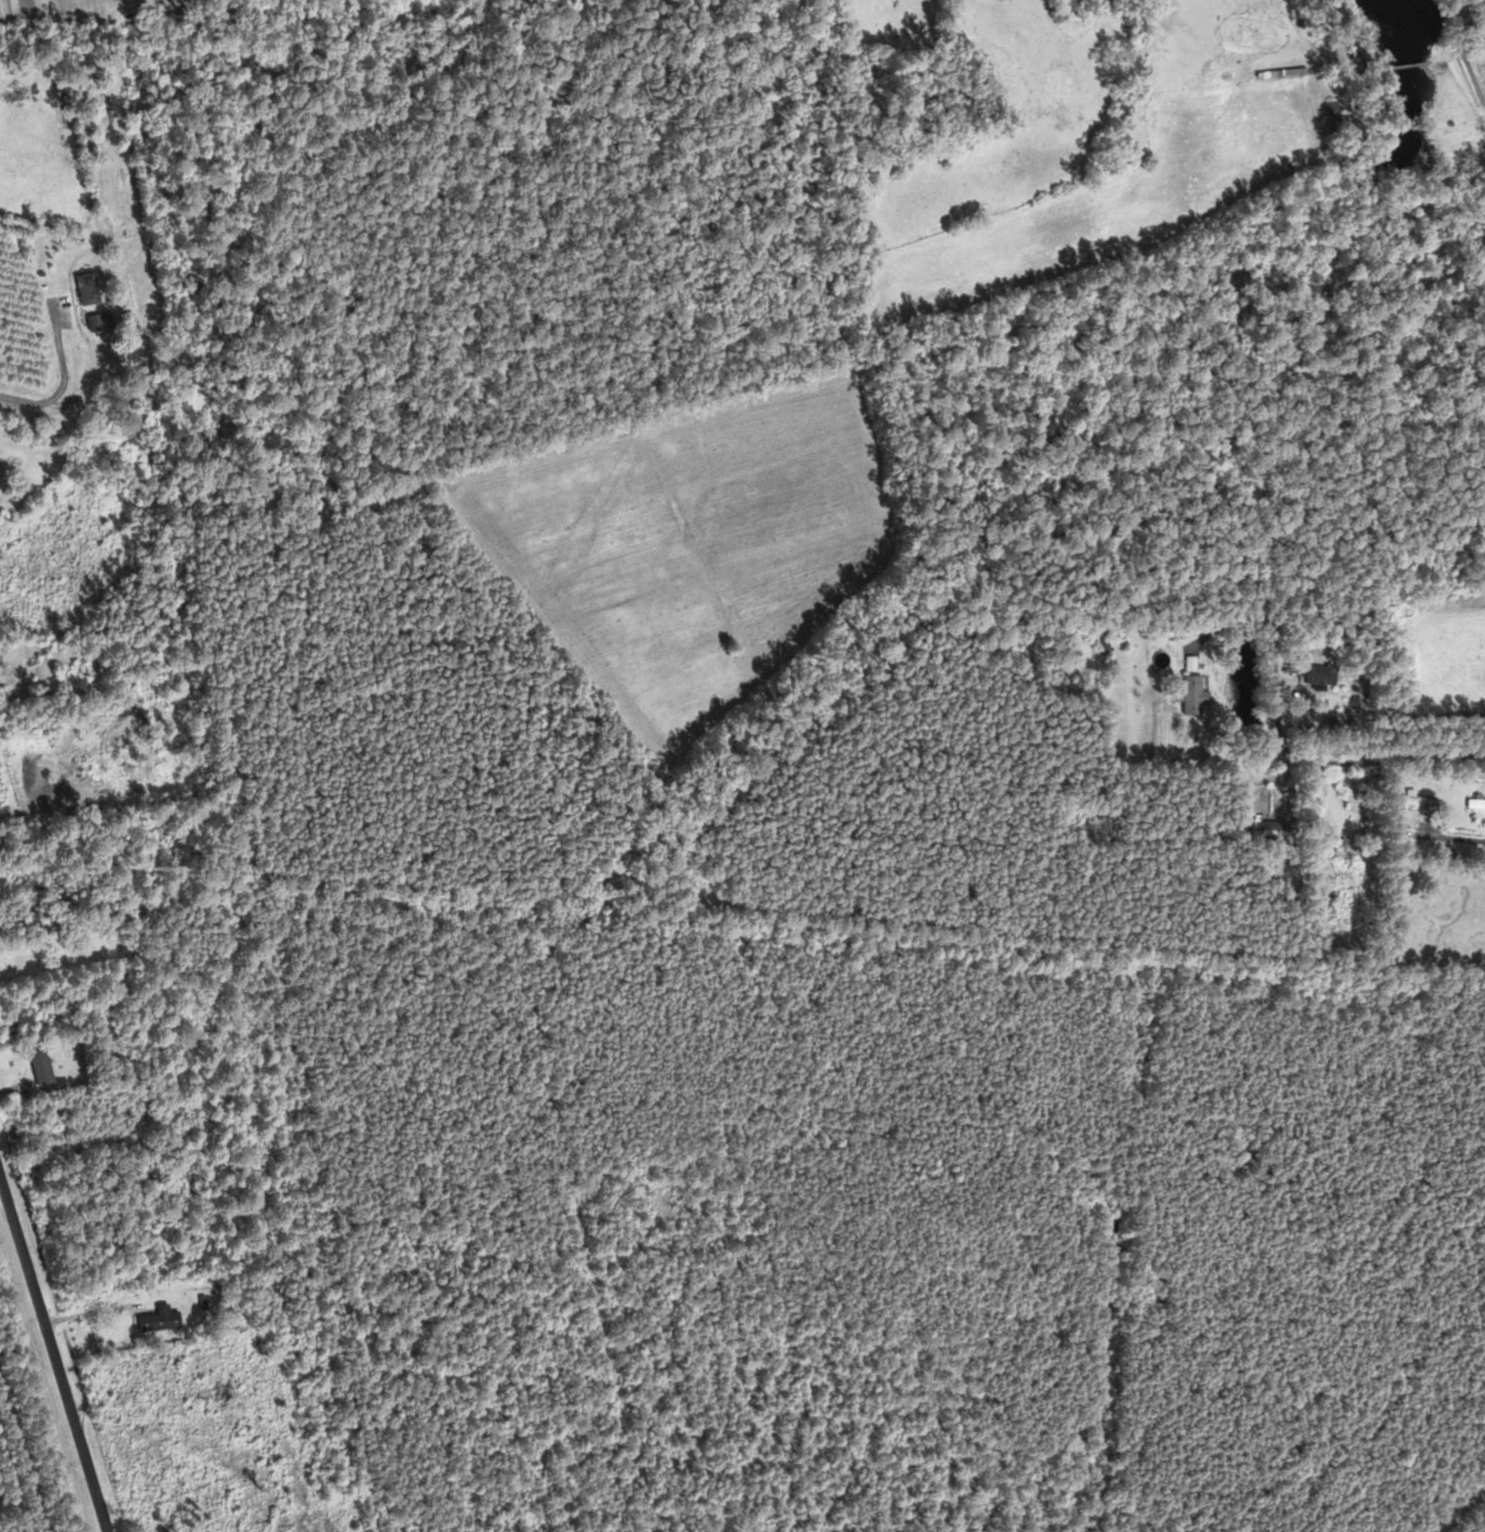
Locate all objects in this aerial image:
building: (1287, 71)
building: (92, 288)
building: (102, 322)
road: (66, 383)
building: (1313, 673)
building: (1187, 693)
road: (1347, 763)
building: (1414, 799)
building: (1473, 803)
building: (1253, 824)
road: (1447, 841)
building: (46, 1066)
building: (159, 1319)
road: (54, 1352)
road: (1458, 1515)

